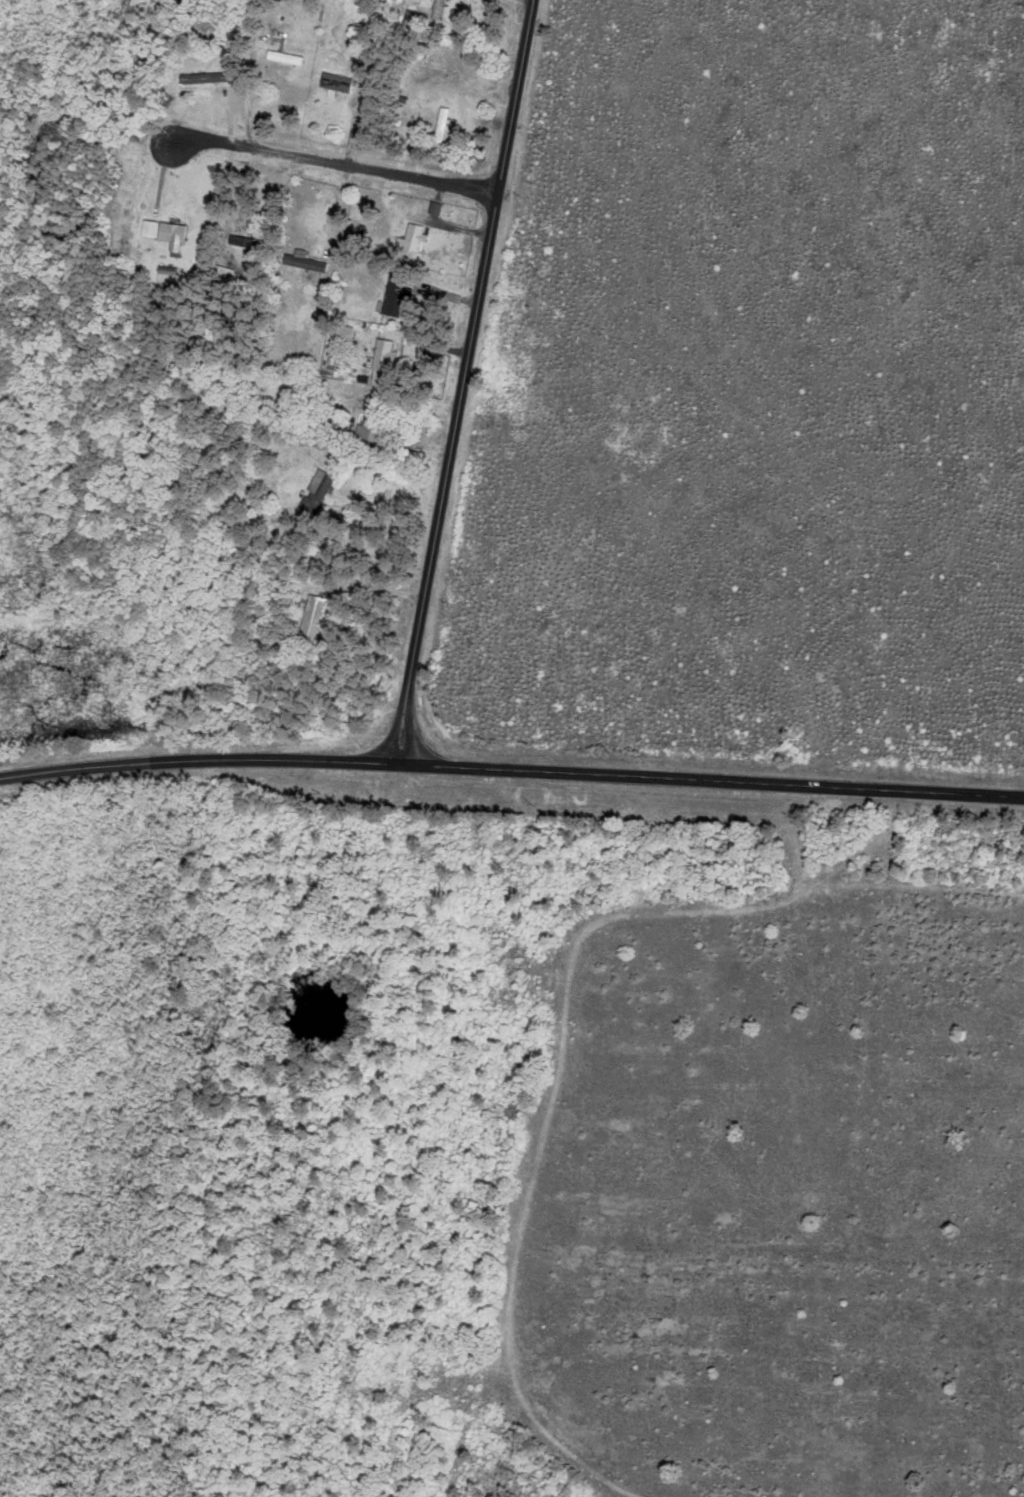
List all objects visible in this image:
building: (439, 10)
building: (284, 58)
building: (456, 62)
building: (203, 78)
building: (336, 83)
building: (442, 126)
road: (331, 163)
building: (162, 231)
building: (414, 237)
building: (302, 261)
building: (395, 294)
building: (383, 355)
road: (462, 381)
building: (371, 425)
building: (316, 490)
building: (311, 620)
road: (511, 769)

